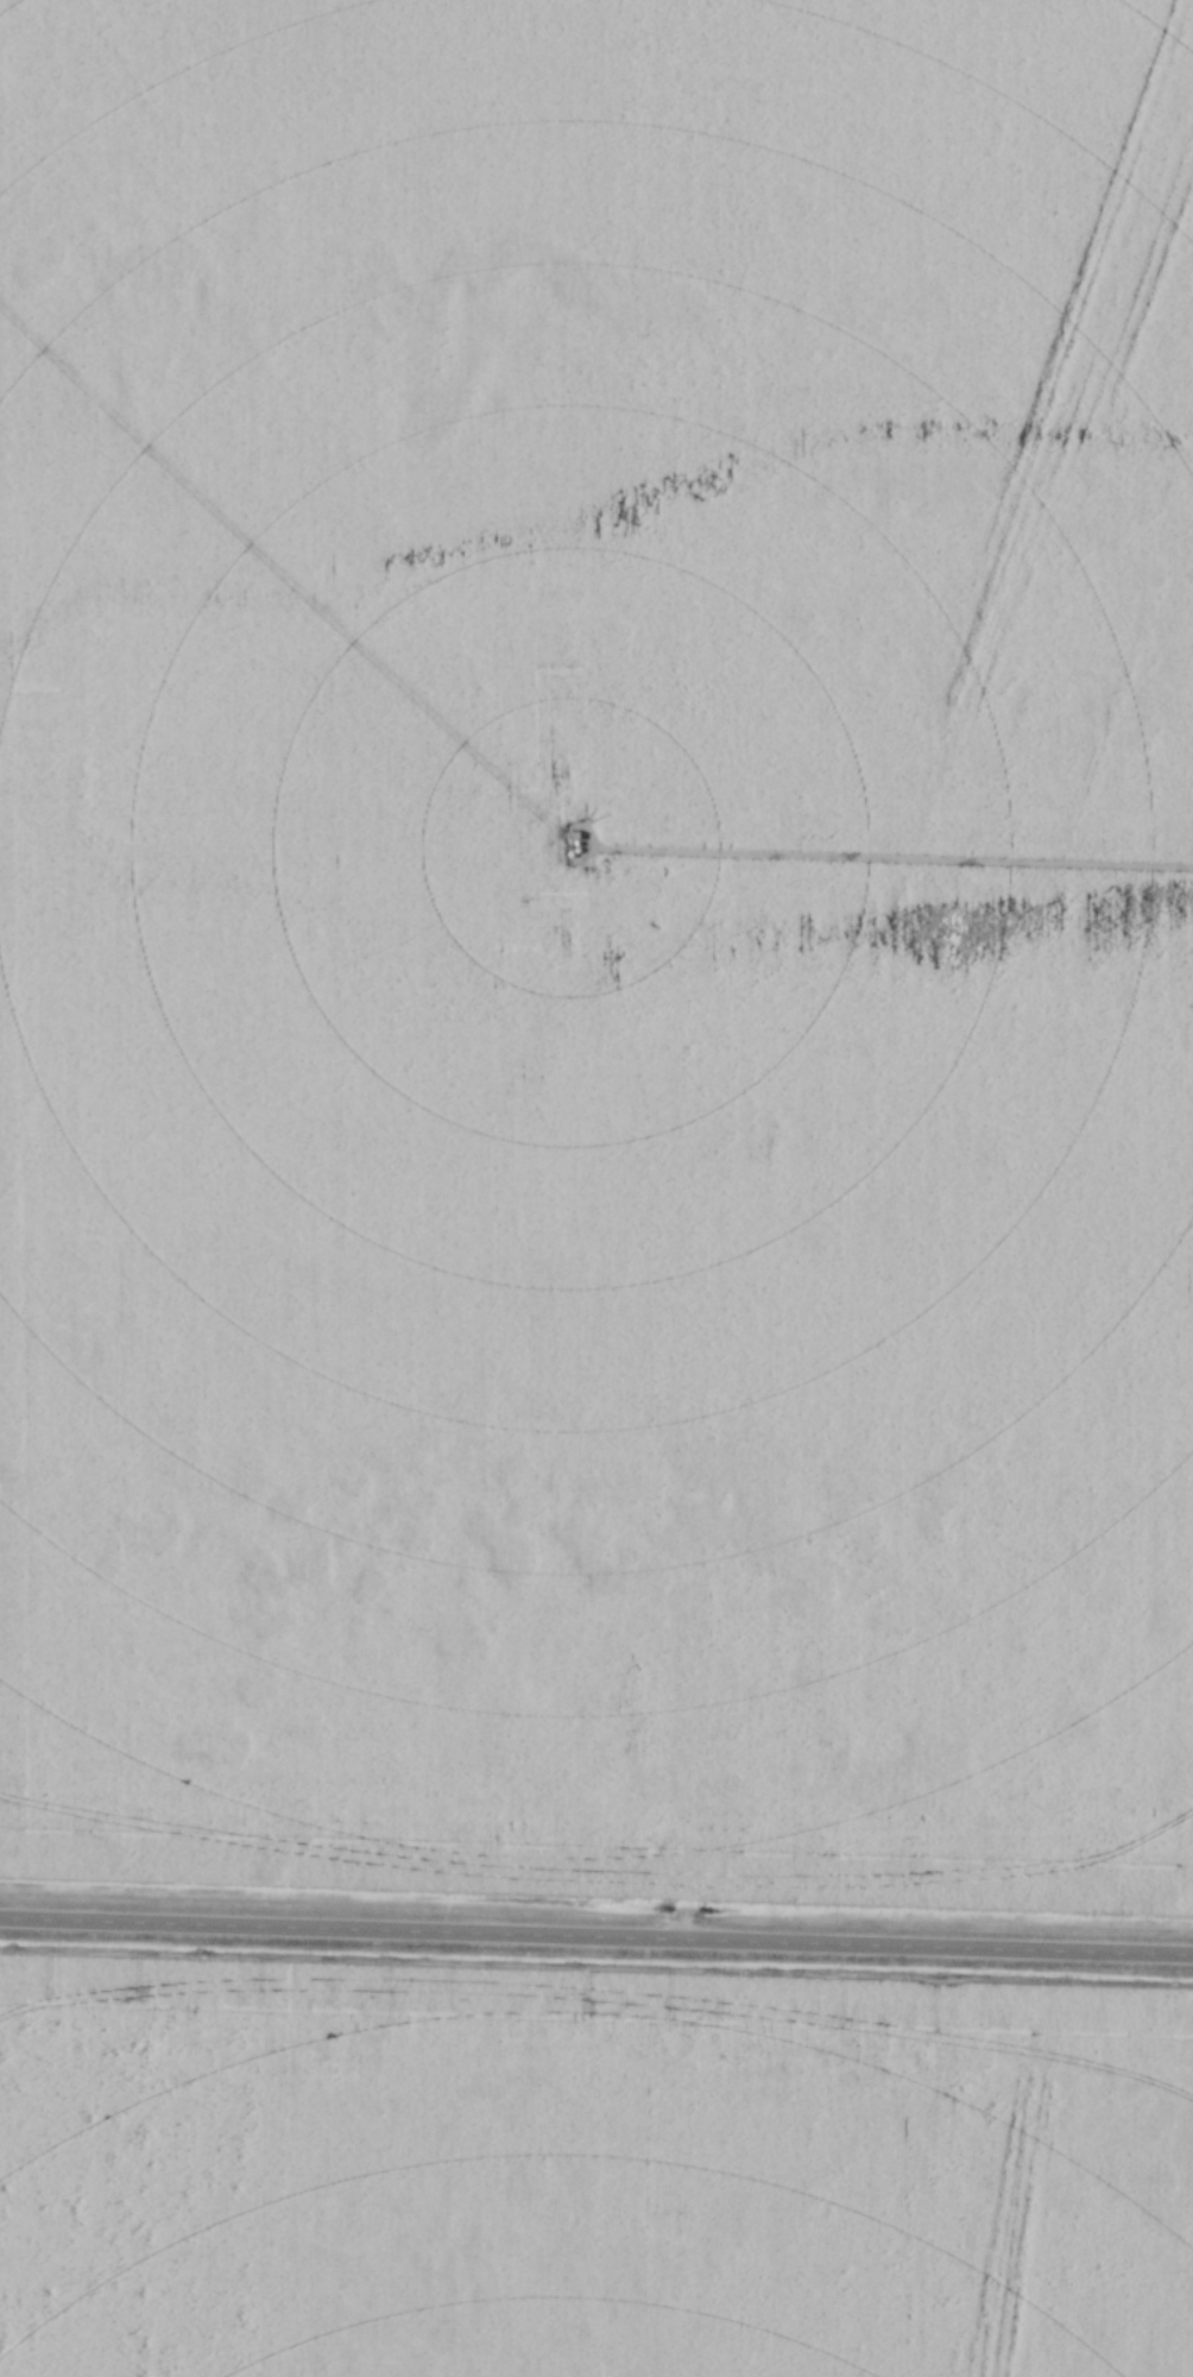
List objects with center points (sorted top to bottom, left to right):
road: (596, 1938)

